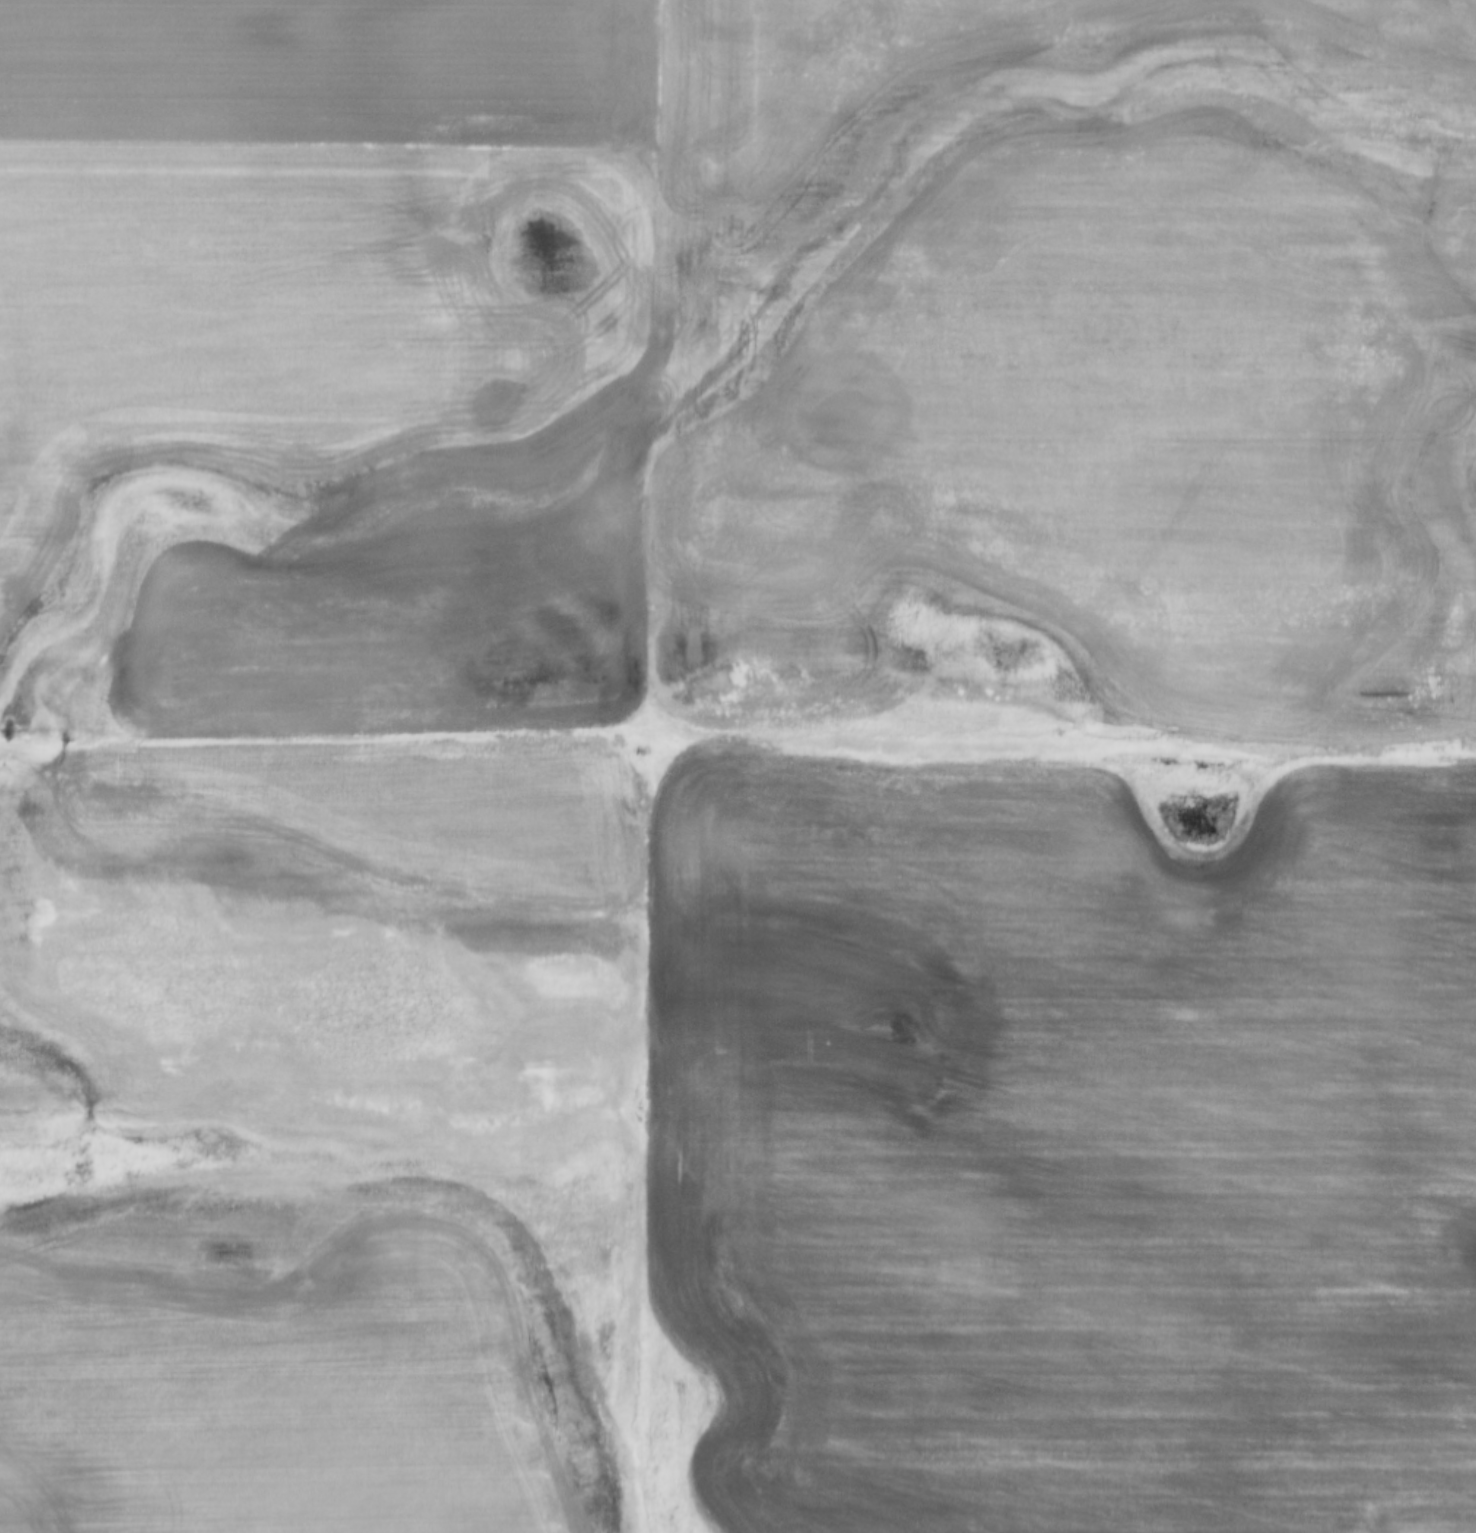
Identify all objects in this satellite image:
road: (737, 736)

